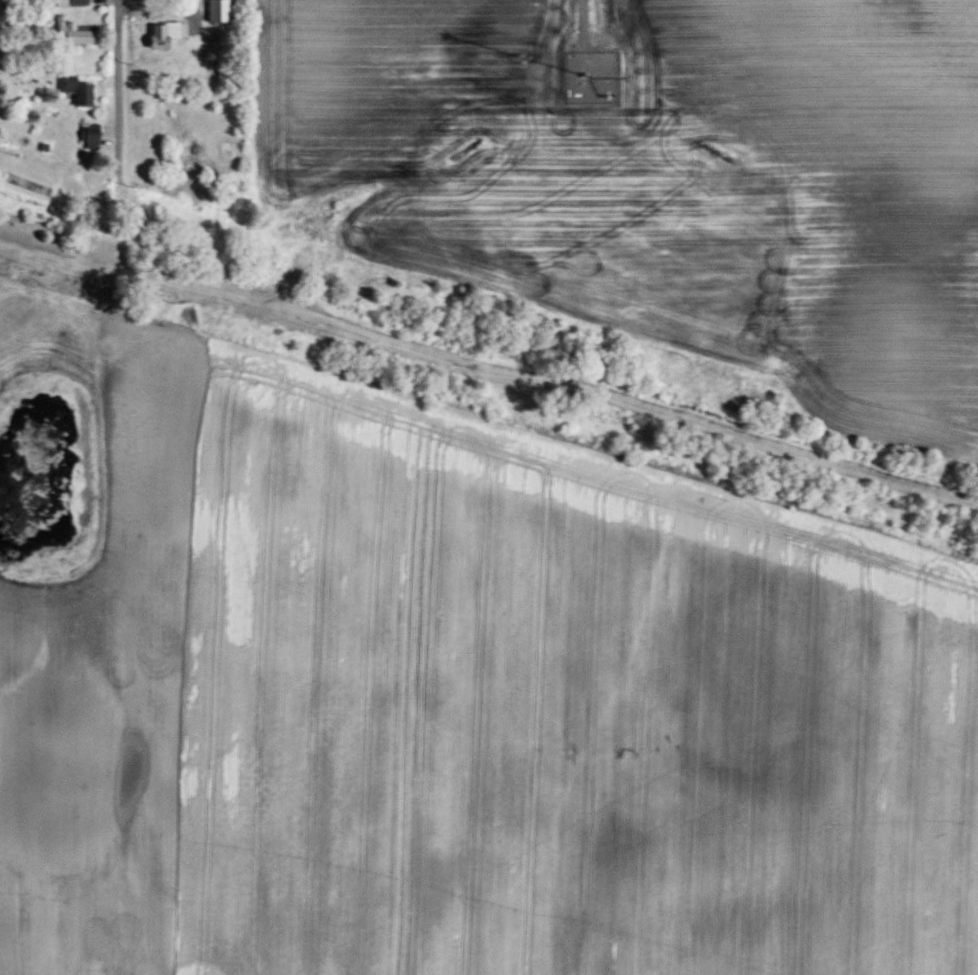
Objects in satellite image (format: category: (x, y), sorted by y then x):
building: (73, 3)
building: (220, 11)
building: (76, 31)
building: (168, 34)
road: (119, 89)
building: (78, 91)
building: (90, 135)

